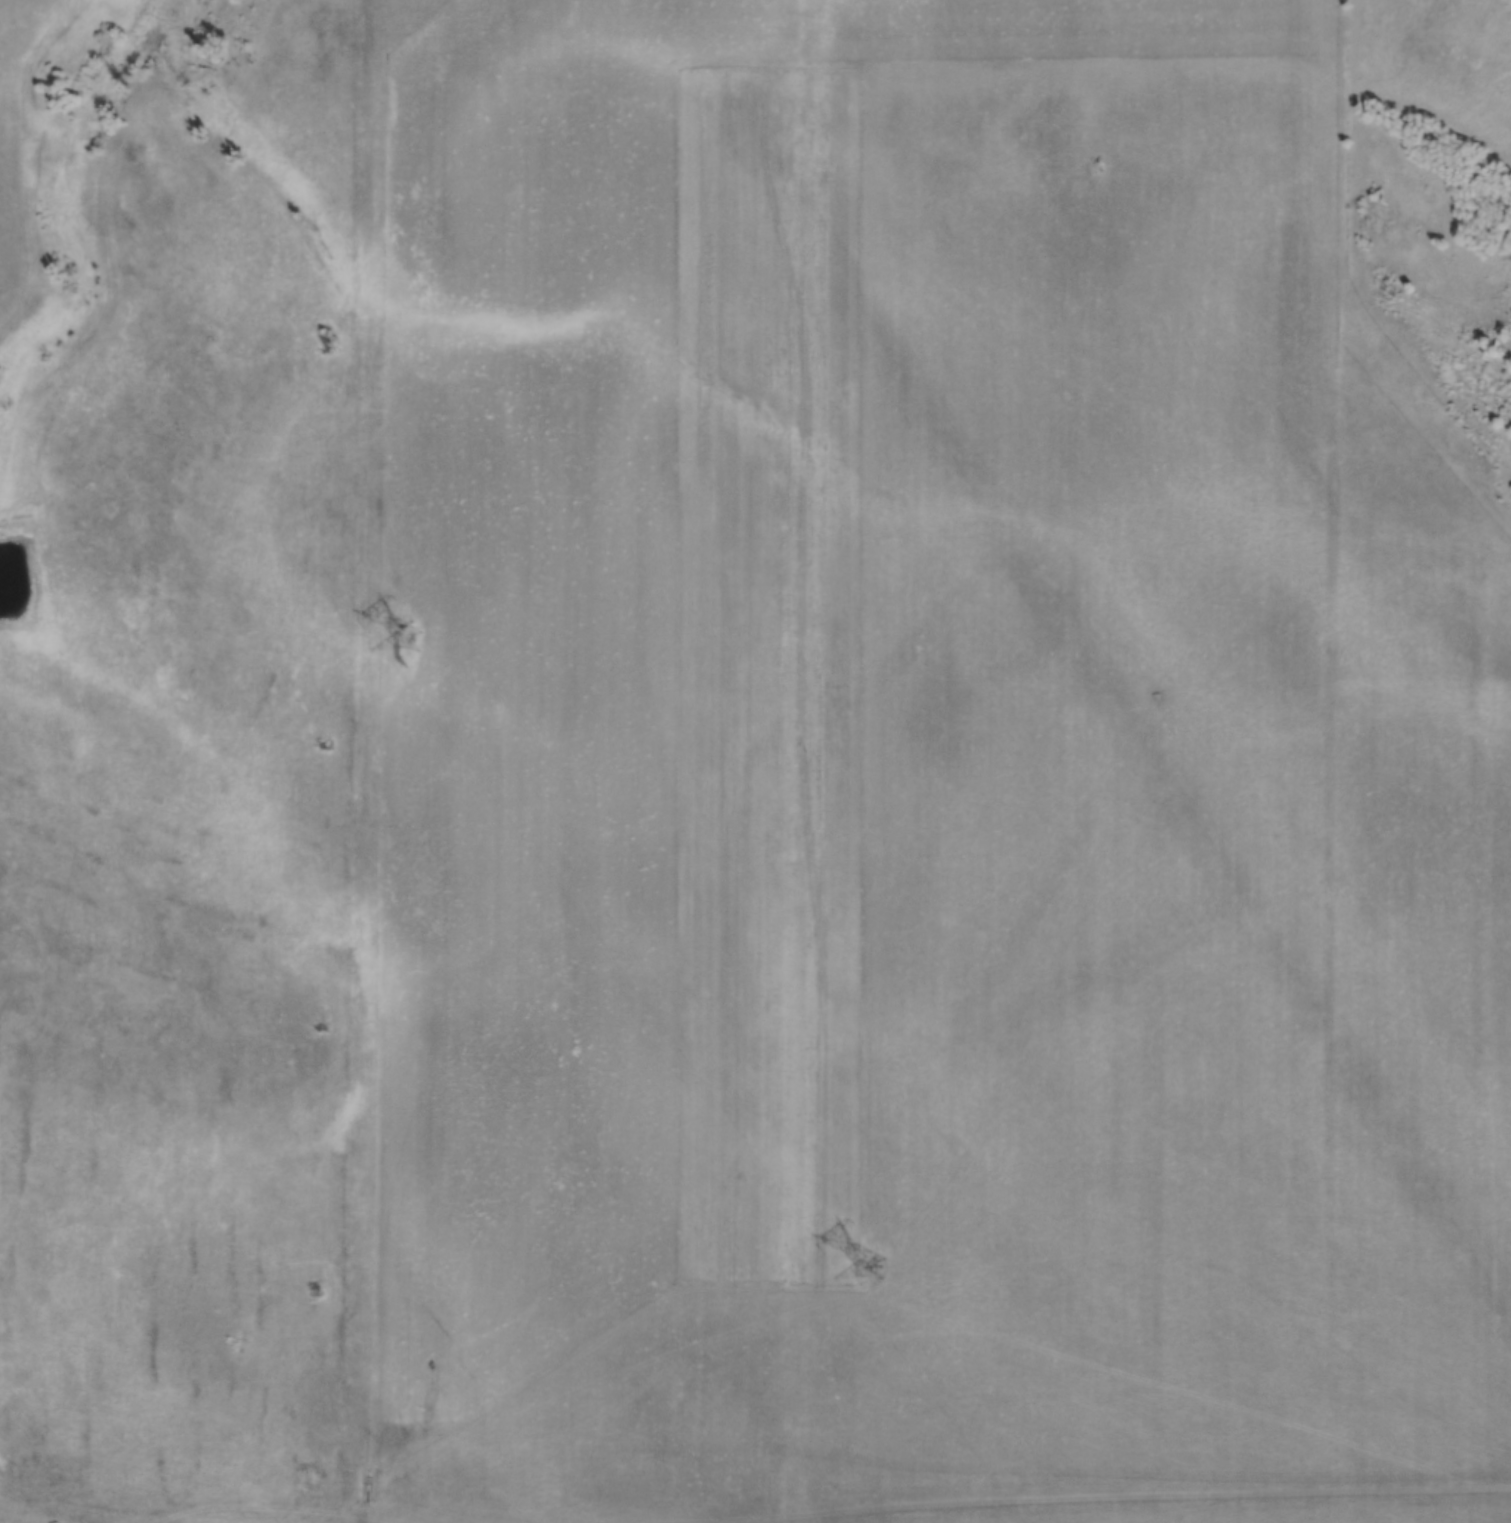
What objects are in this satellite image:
power tower: (417, 645)
power tower: (879, 1273)

